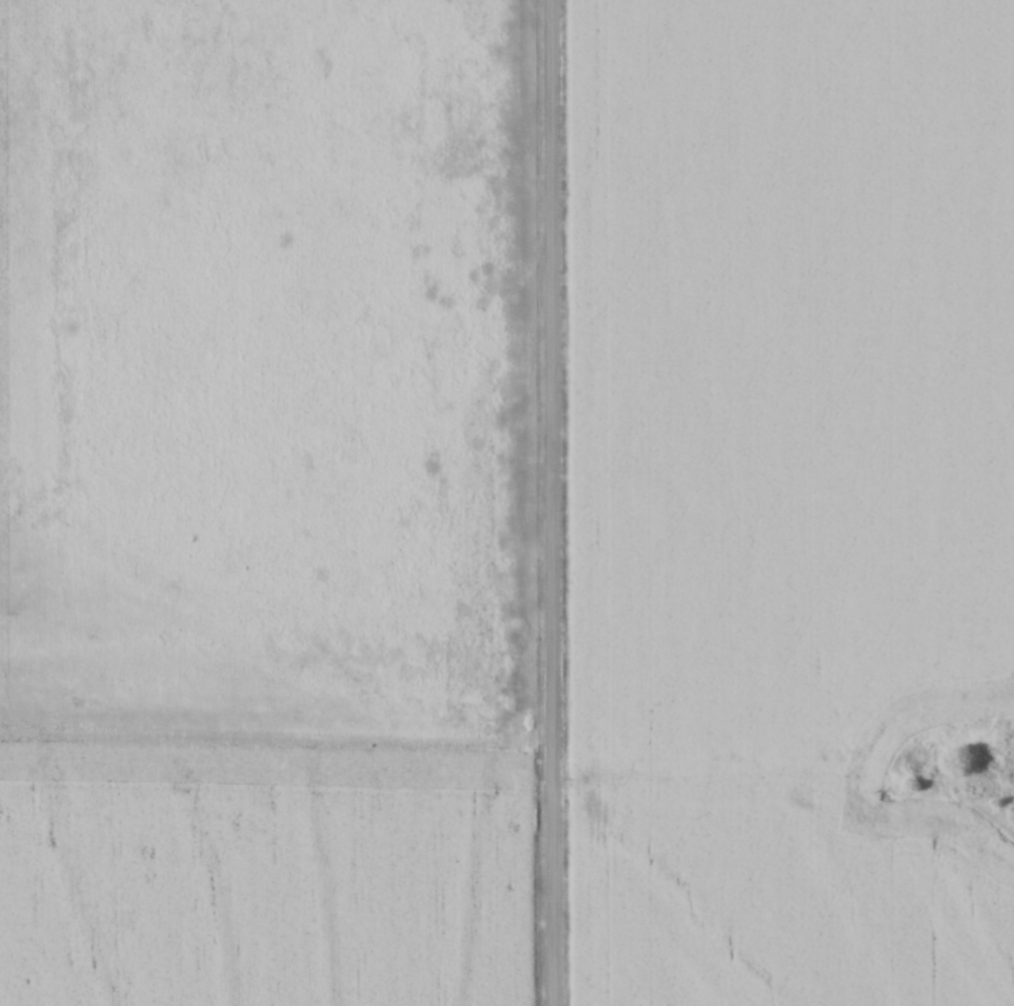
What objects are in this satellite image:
road: (553, 503)

